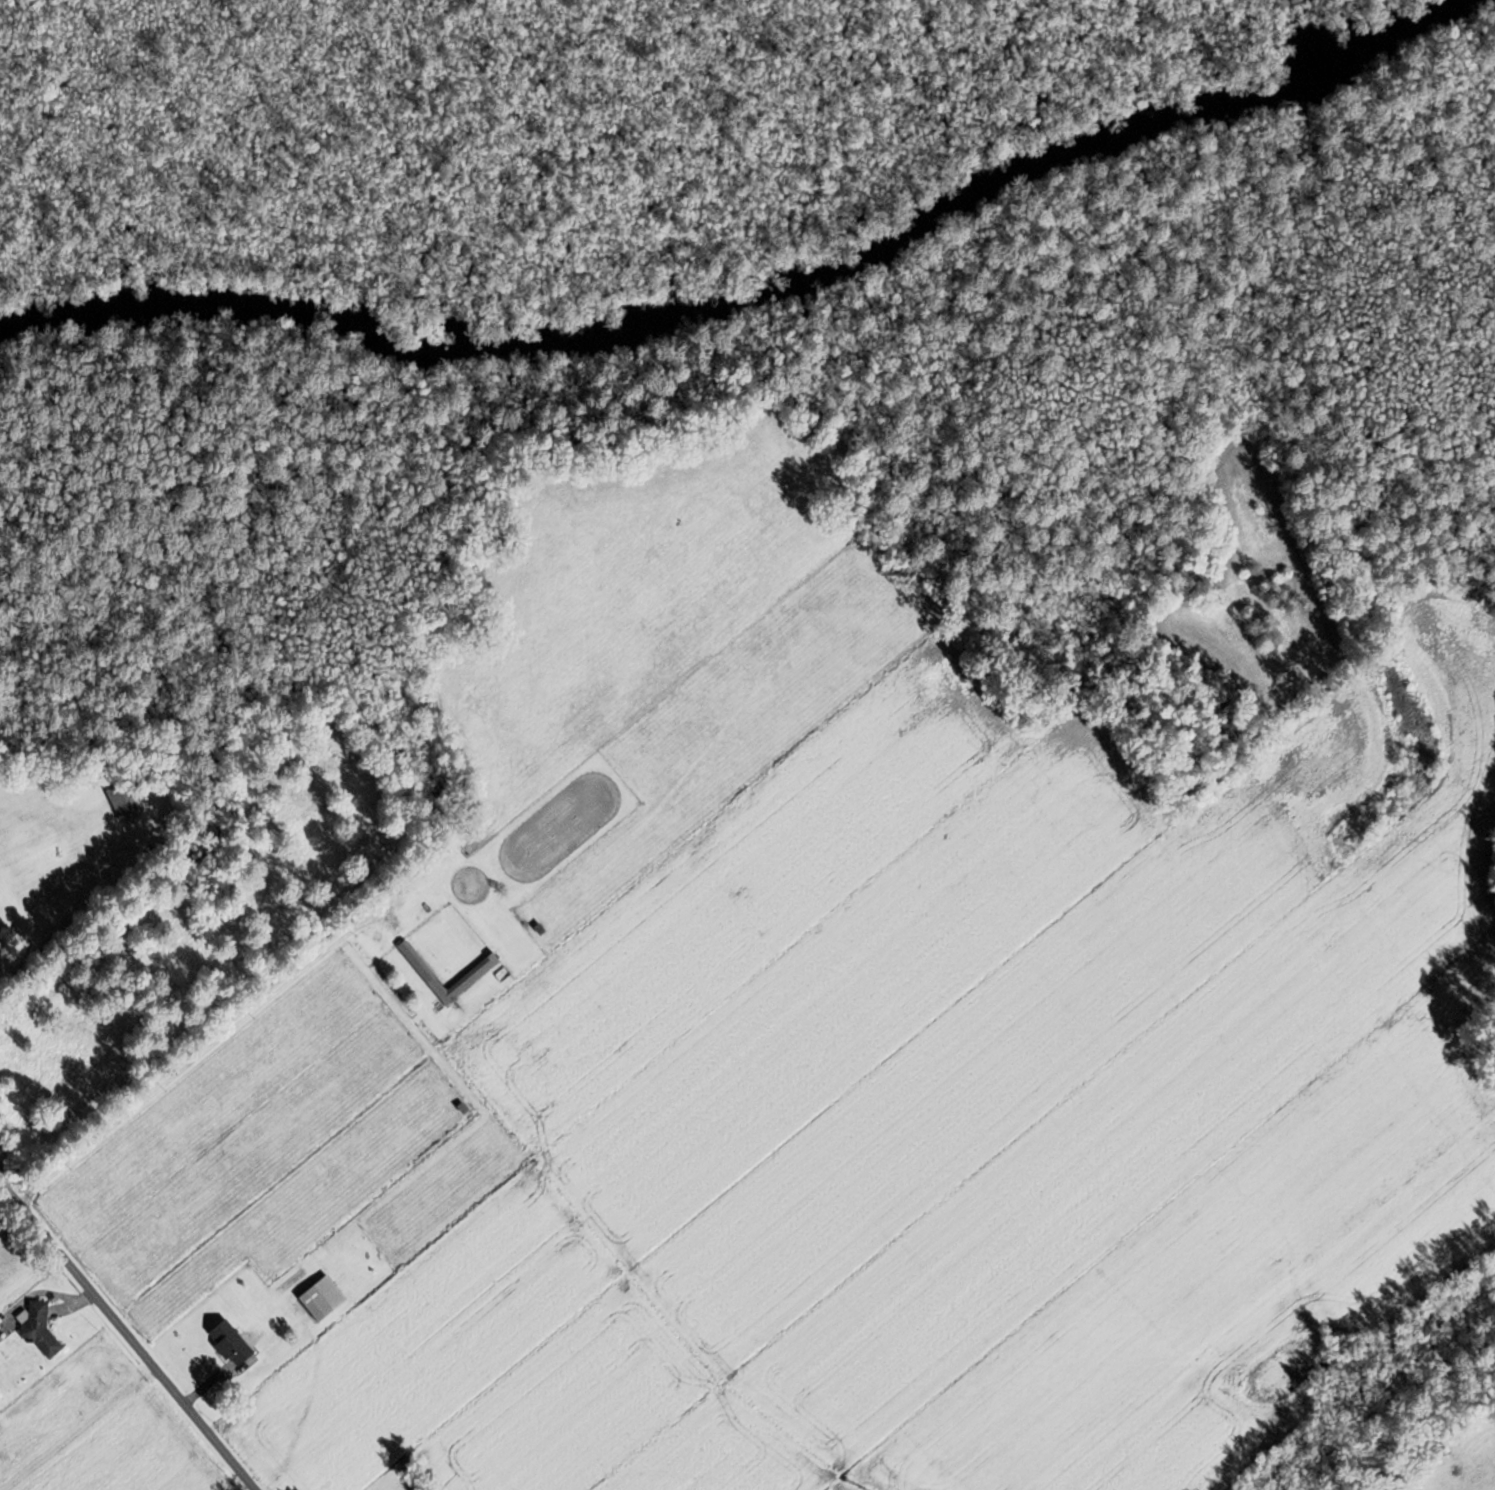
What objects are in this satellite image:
building: (122, 799)
building: (474, 974)
building: (325, 1297)
building: (42, 1330)
road: (127, 1336)
building: (233, 1343)

